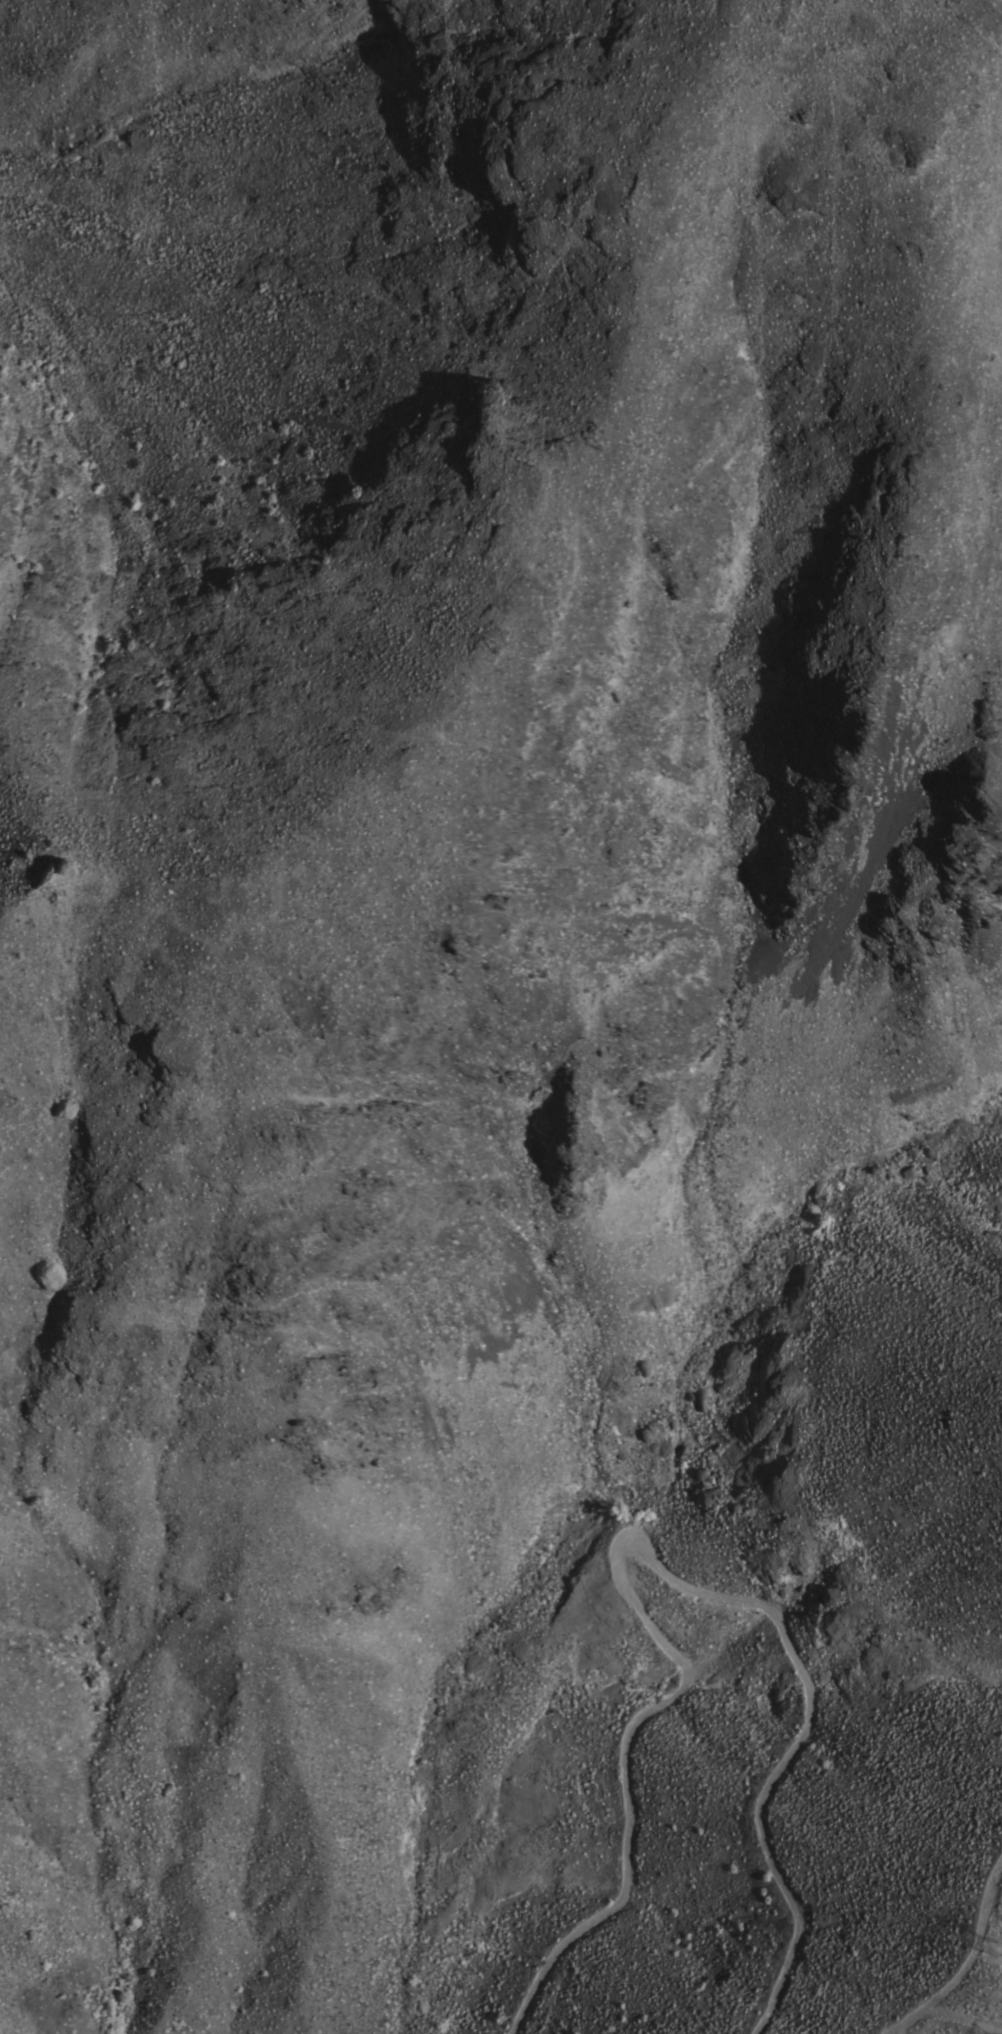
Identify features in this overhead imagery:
power tower: (991, 1948)

